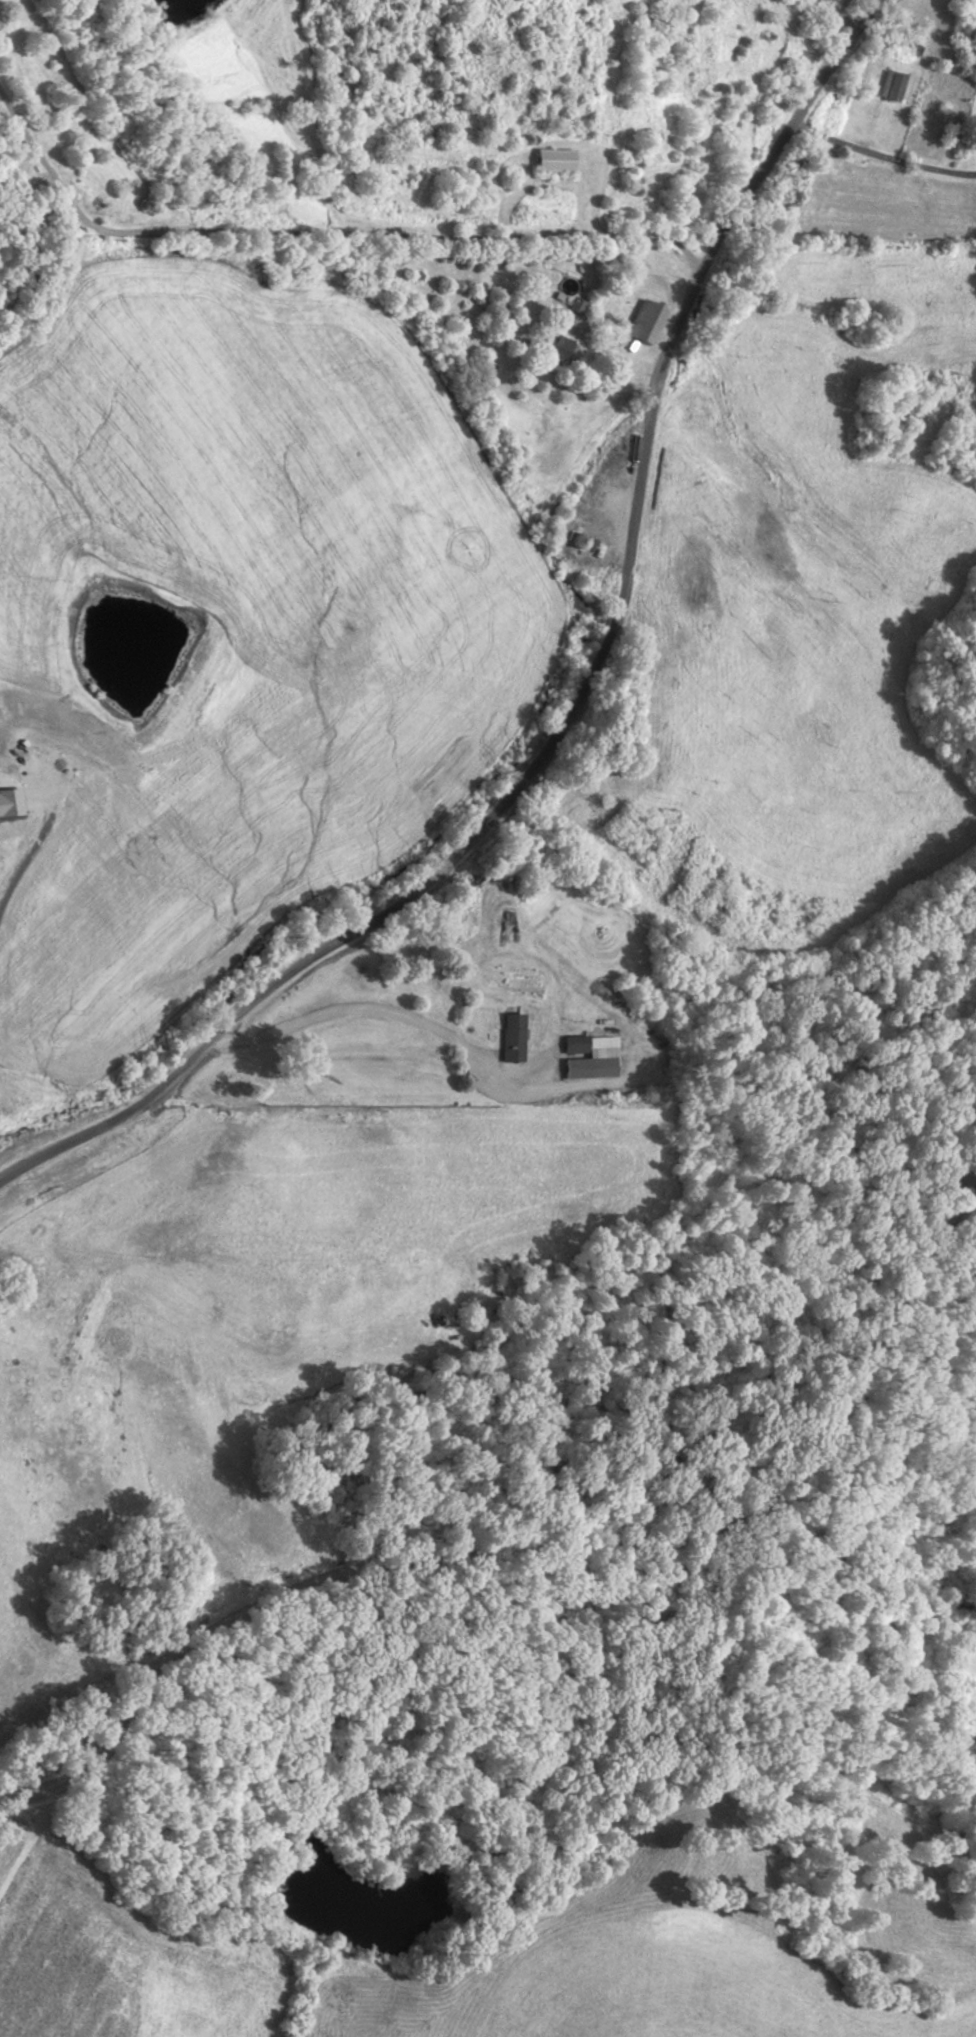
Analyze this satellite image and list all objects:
road: (840, 13)
building: (893, 89)
building: (975, 124)
building: (550, 161)
road: (324, 234)
building: (650, 319)
road: (582, 698)
road: (30, 847)
road: (353, 1009)
building: (514, 1037)
building: (582, 1059)
road: (542, 1558)

